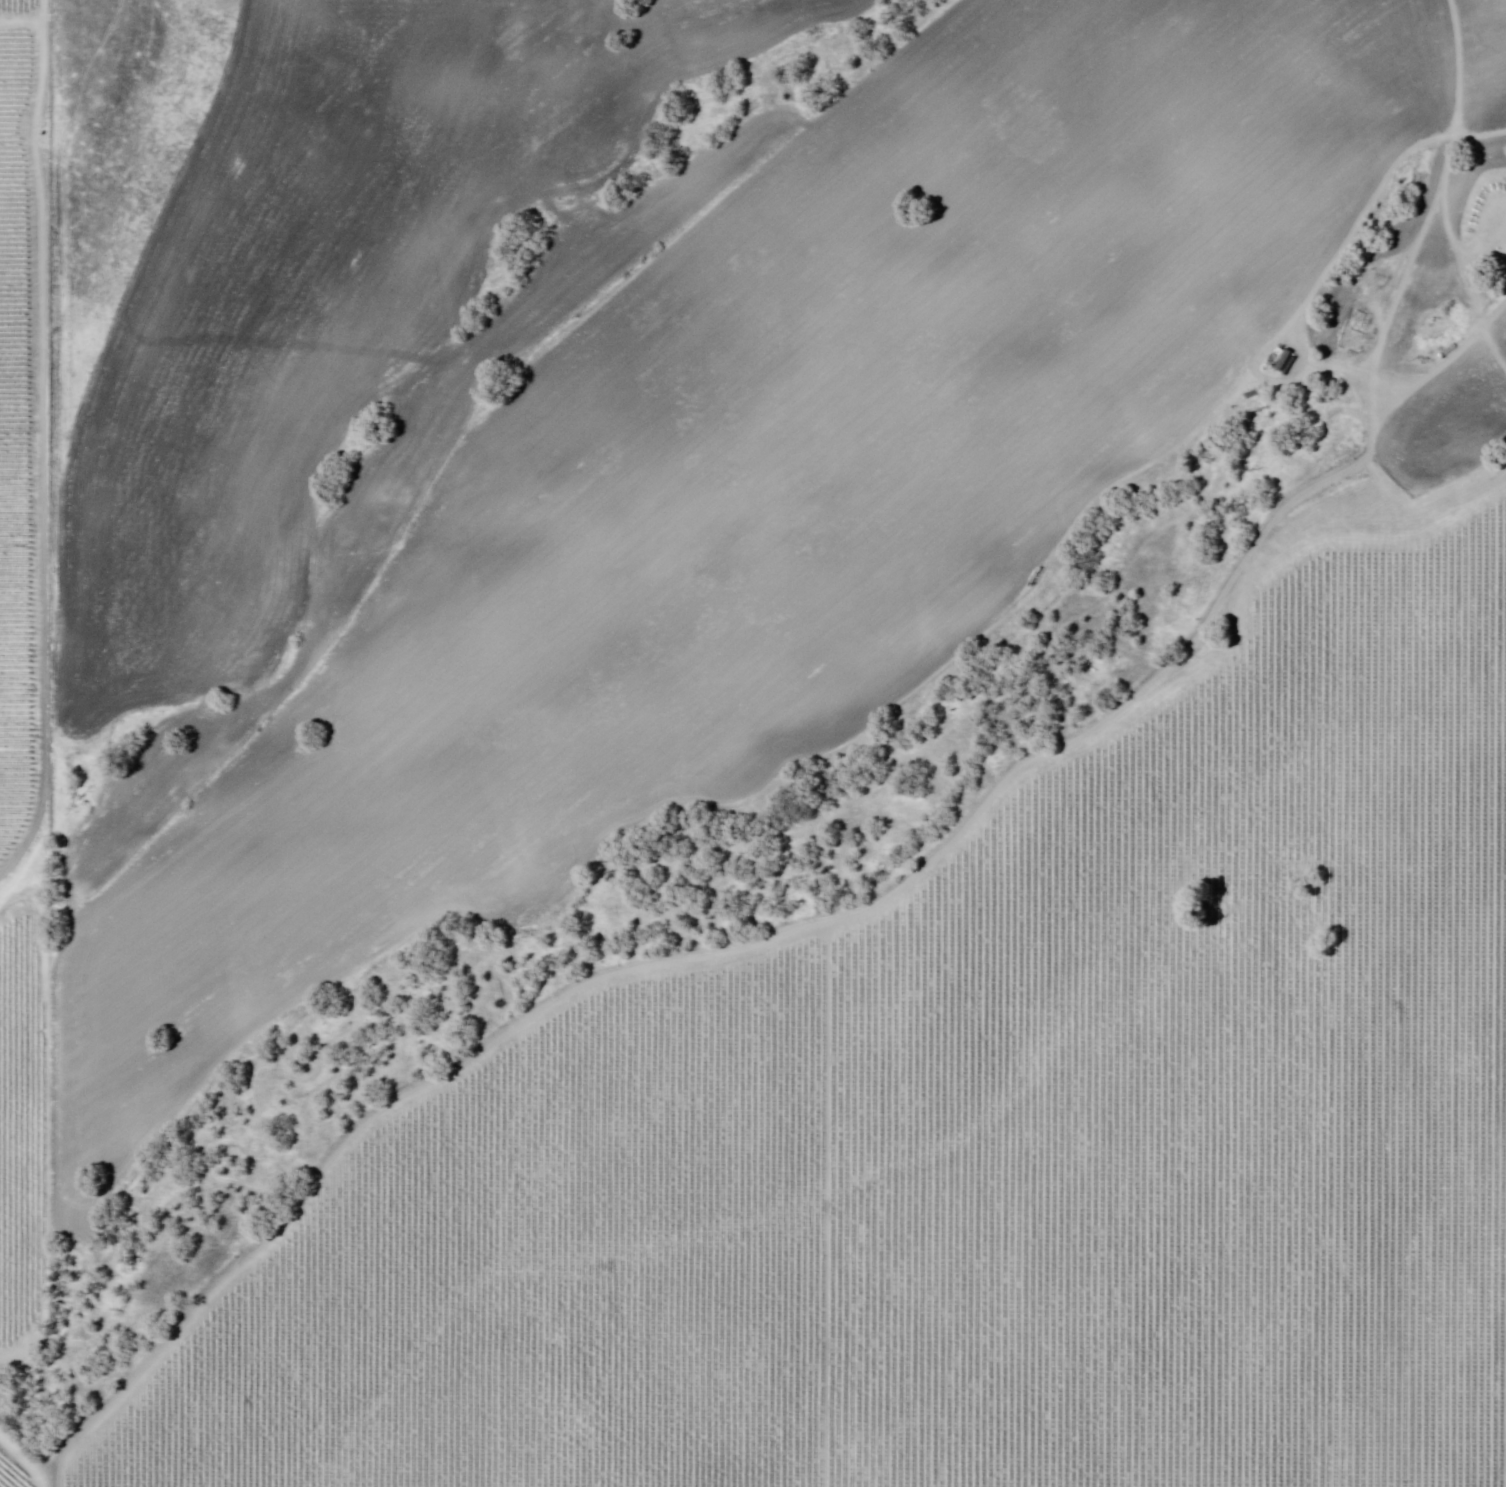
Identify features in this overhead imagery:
building: (1281, 360)

